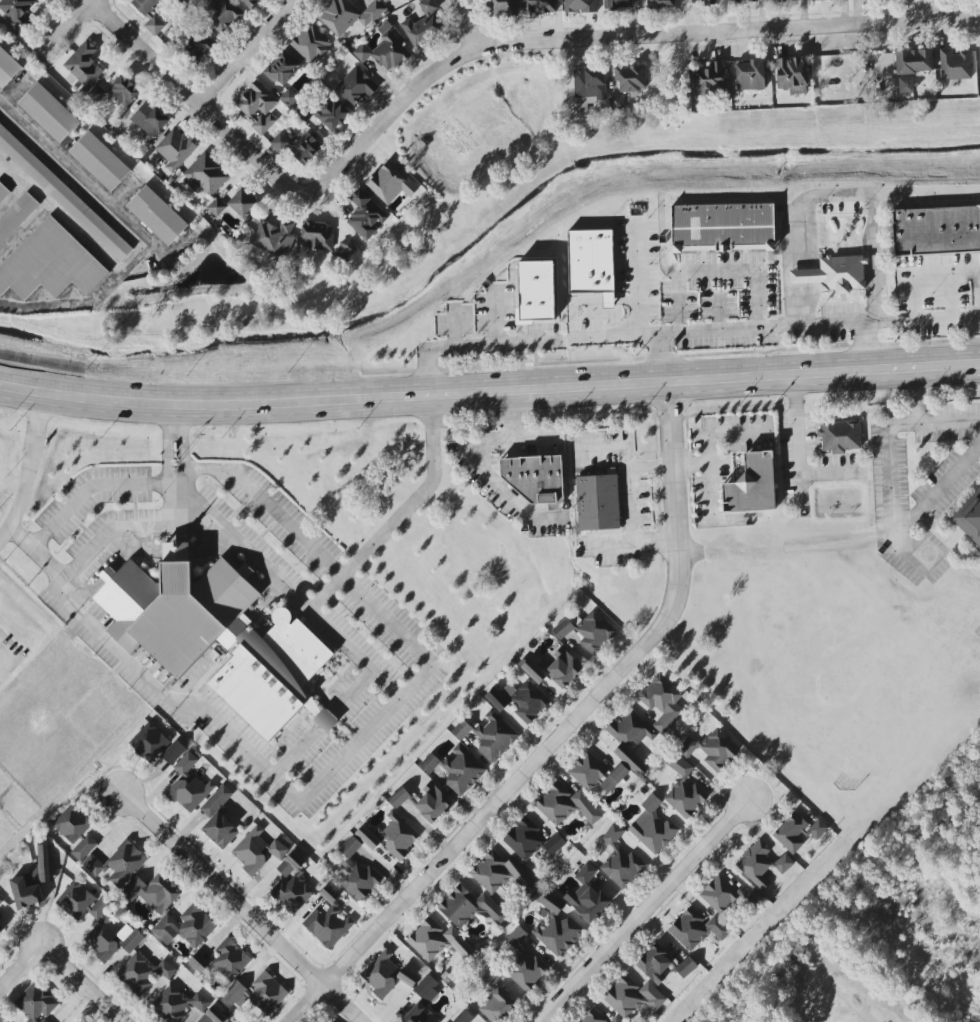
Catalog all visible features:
building: (48, 0)
building: (770, 0)
building: (385, 1)
building: (699, 1)
building: (741, 1)
building: (250, 3)
building: (616, 4)
building: (659, 4)
building: (500, 6)
building: (537, 6)
building: (580, 6)
building: (16, 12)
building: (149, 14)
building: (222, 14)
building: (347, 15)
road: (474, 25)
building: (424, 26)
road: (66, 30)
road: (620, 36)
building: (311, 44)
building: (199, 46)
building: (385, 51)
road: (250, 52)
building: (913, 61)
building: (83, 64)
building: (954, 64)
building: (282, 68)
building: (7, 69)
building: (750, 75)
building: (792, 75)
building: (630, 77)
building: (708, 78)
building: (905, 84)
building: (355, 87)
building: (588, 87)
building: (123, 91)
building: (95, 93)
building: (288, 98)
building: (616, 100)
road: (200, 103)
building: (258, 107)
building: (48, 113)
building: (325, 113)
building: (149, 120)
building: (297, 146)
building: (175, 149)
building: (100, 162)
building: (207, 173)
building: (390, 183)
building: (4, 193)
building: (63, 196)
road: (825, 196)
building: (242, 203)
building: (216, 207)
building: (365, 215)
building: (16, 217)
building: (158, 217)
building: (722, 227)
building: (936, 231)
building: (316, 236)
building: (273, 237)
building: (345, 248)
building: (590, 260)
road: (876, 260)
building: (50, 264)
building: (833, 274)
road: (637, 282)
building: (536, 291)
road: (756, 300)
road: (945, 315)
road: (890, 323)
road: (519, 341)
road: (865, 347)
road: (489, 391)
building: (840, 436)
road: (531, 438)
road: (706, 445)
road: (796, 447)
road: (696, 464)
road: (480, 466)
road: (26, 472)
building: (531, 477)
building: (751, 485)
road: (123, 488)
road: (887, 500)
road: (417, 501)
building: (598, 502)
road: (631, 505)
building: (970, 520)
road: (115, 533)
road: (791, 548)
road: (280, 588)
building: (587, 630)
building: (214, 633)
road: (1, 665)
building: (563, 670)
building: (533, 671)
road: (352, 692)
building: (519, 700)
building: (662, 702)
building: (325, 720)
road: (327, 720)
building: (630, 729)
road: (570, 732)
building: (494, 735)
building: (155, 745)
building: (687, 746)
building: (718, 750)
road: (296, 754)
building: (629, 760)
road: (338, 761)
building: (185, 763)
building: (461, 770)
building: (595, 773)
building: (683, 789)
building: (189, 793)
building: (398, 797)
building: (566, 805)
building: (218, 818)
building: (652, 828)
building: (75, 830)
building: (798, 832)
building: (399, 836)
building: (367, 838)
building: (530, 841)
building: (256, 850)
building: (620, 860)
building: (45, 863)
building: (117, 864)
building: (761, 864)
building: (356, 873)
building: (500, 873)
building: (584, 873)
building: (291, 885)
building: (26, 889)
building: (153, 892)
building: (329, 894)
building: (726, 895)
building: (1, 901)
building: (80, 902)
building: (587, 903)
road: (248, 907)
building: (470, 907)
road: (648, 912)
building: (327, 926)
building: (185, 927)
building: (555, 927)
building: (1, 928)
building: (696, 928)
building: (111, 939)
building: (437, 941)
building: (229, 959)
building: (198, 962)
building: (524, 963)
building: (654, 963)
building: (685, 967)
road: (24, 969)
building: (142, 973)
building: (385, 974)
road: (88, 983)
building: (259, 994)
building: (632, 996)
building: (35, 1002)
building: (423, 1002)
building: (496, 1005)
building: (464, 1017)
building: (592, 1017)
building: (616, 1019)
building: (330, 1021)

